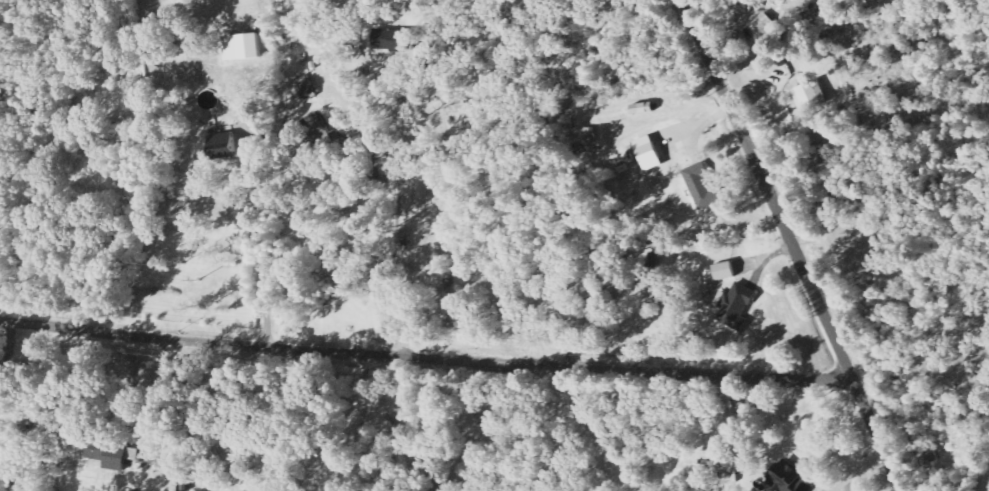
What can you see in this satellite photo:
building: (856, 4)
building: (765, 24)
building: (392, 40)
building: (240, 47)
building: (809, 96)
building: (86, 145)
building: (220, 147)
building: (646, 154)
building: (702, 188)
road: (260, 242)
road: (792, 245)
building: (723, 272)
building: (734, 307)
road: (426, 356)
road: (355, 432)
building: (106, 453)
building: (787, 480)

